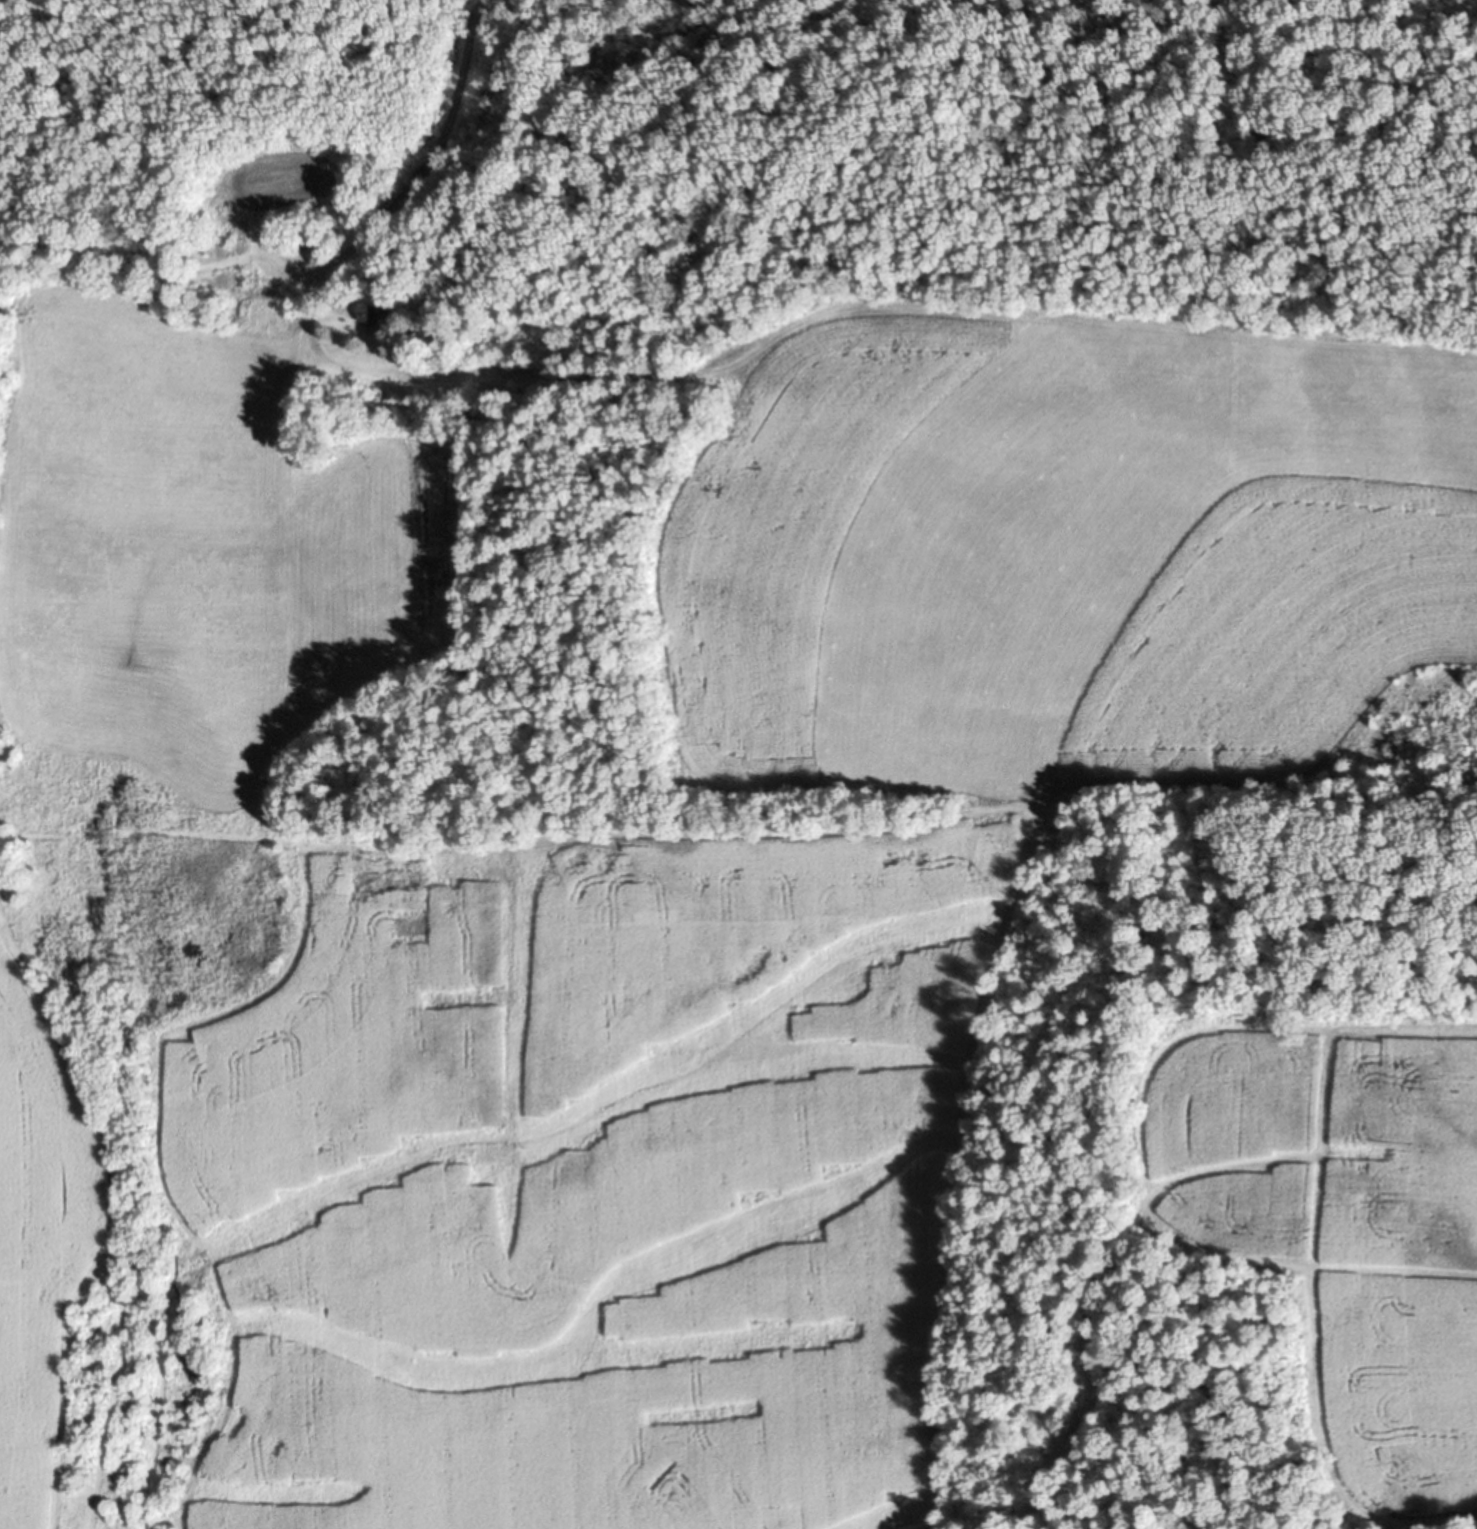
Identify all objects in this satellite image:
road: (451, 140)
building: (377, 317)

